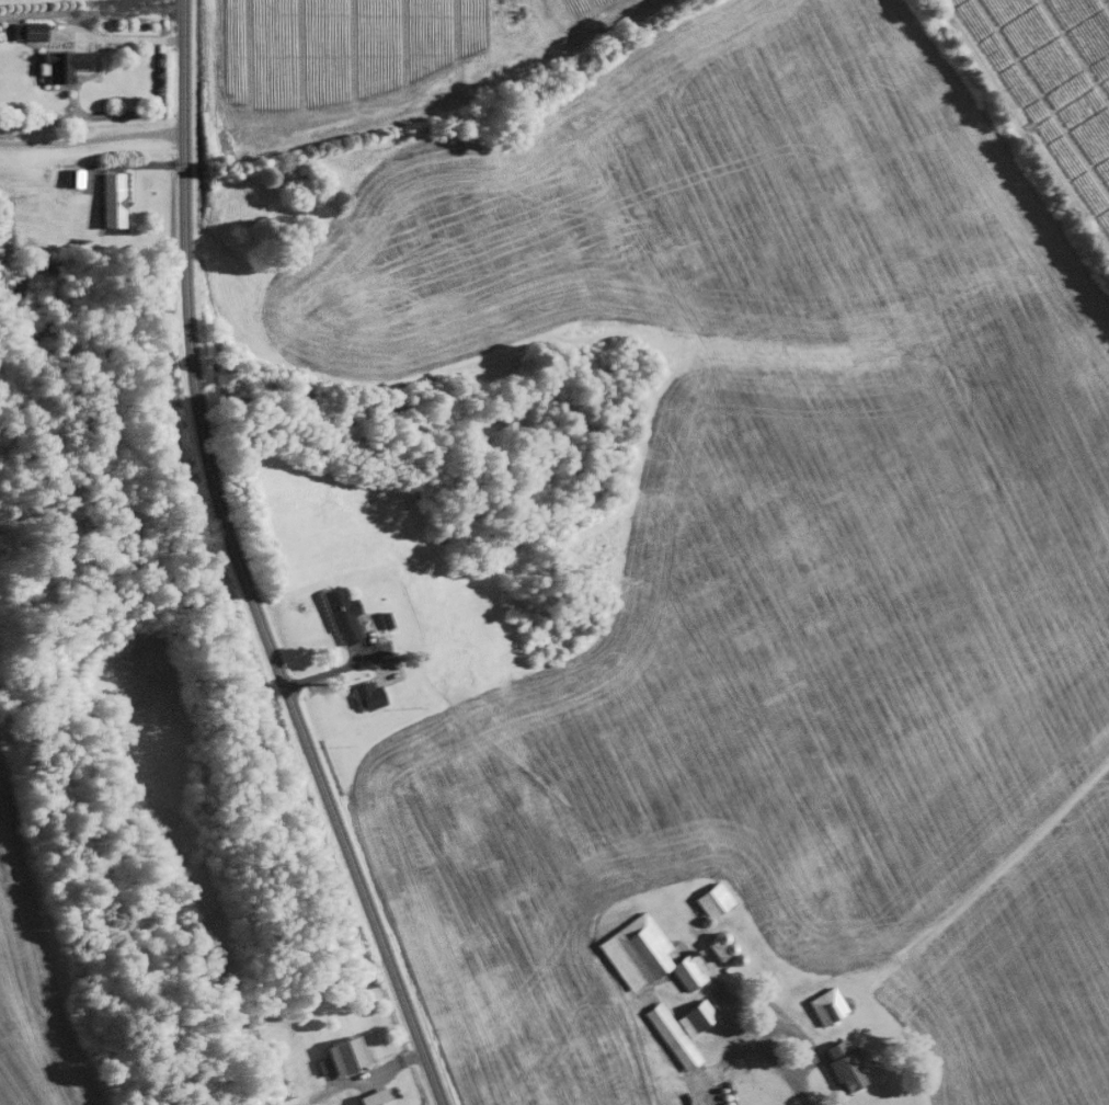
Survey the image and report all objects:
road: (91, 11)
building: (25, 30)
building: (58, 64)
road: (1018, 132)
road: (92, 138)
building: (107, 198)
road: (239, 567)
building: (339, 614)
building: (364, 694)
building: (710, 898)
building: (716, 943)
building: (644, 953)
building: (823, 1004)
building: (691, 1015)
building: (668, 1034)
building: (340, 1053)
building: (841, 1063)
road: (797, 1087)
building: (370, 1096)

